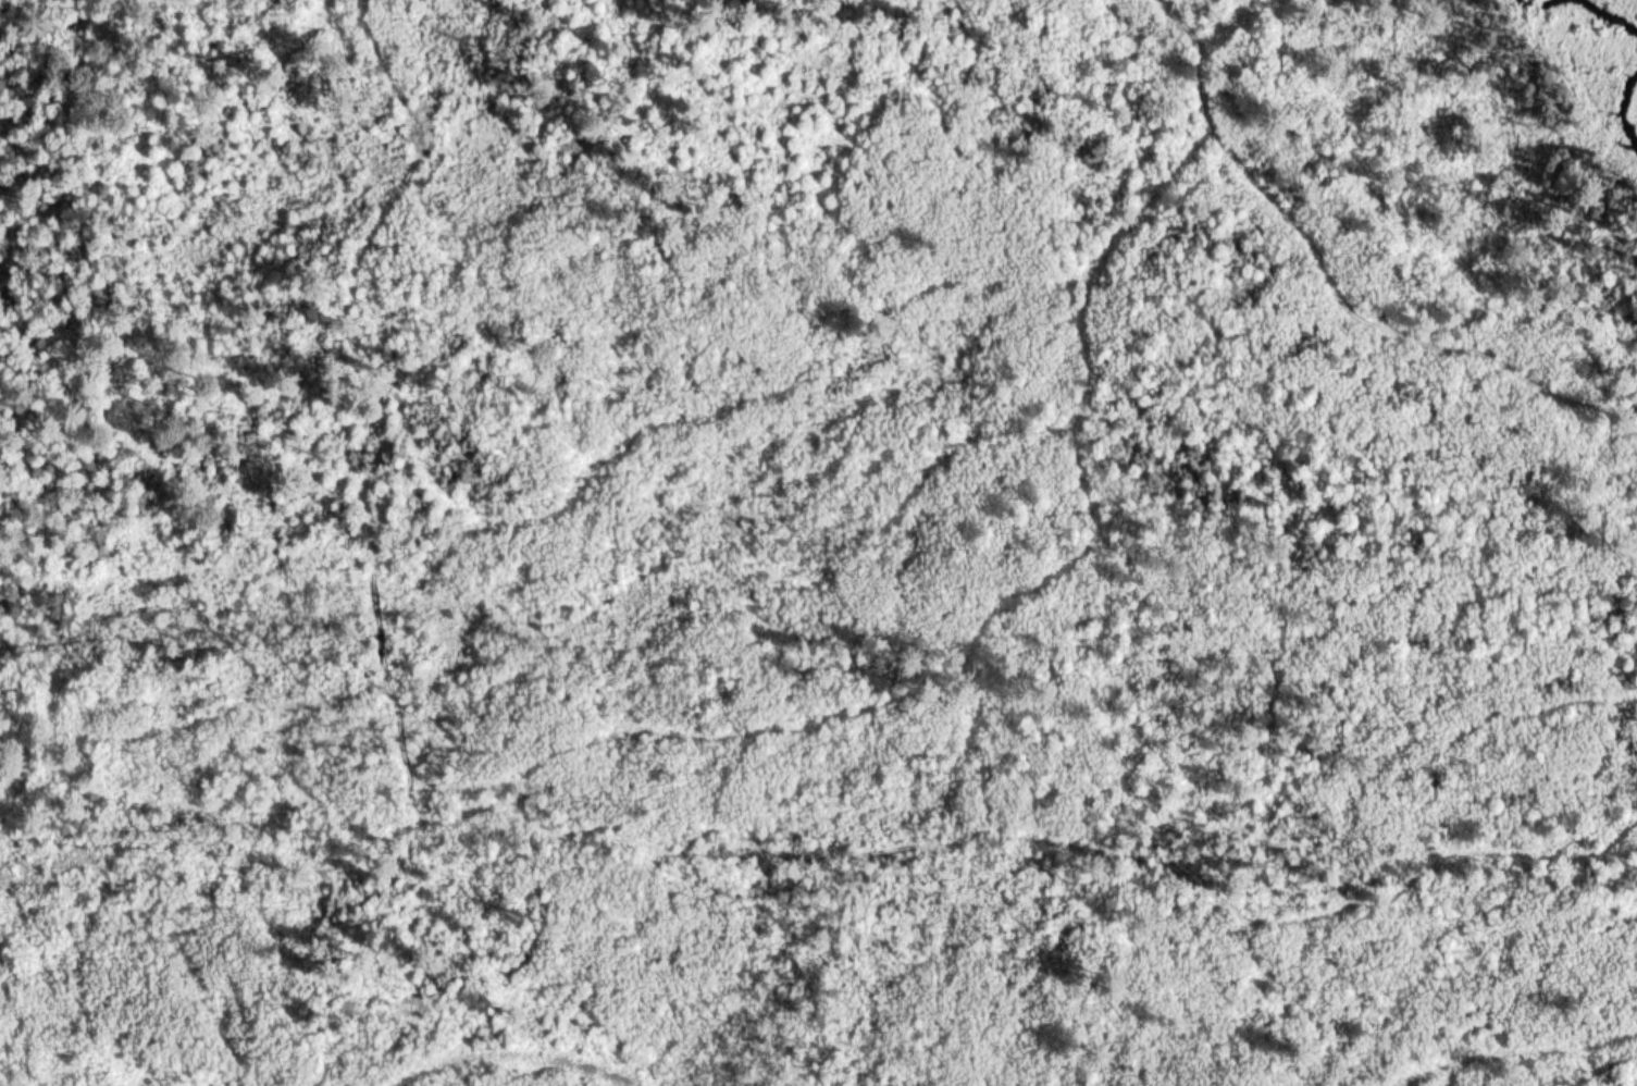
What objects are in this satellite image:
road: (1201, 132)

